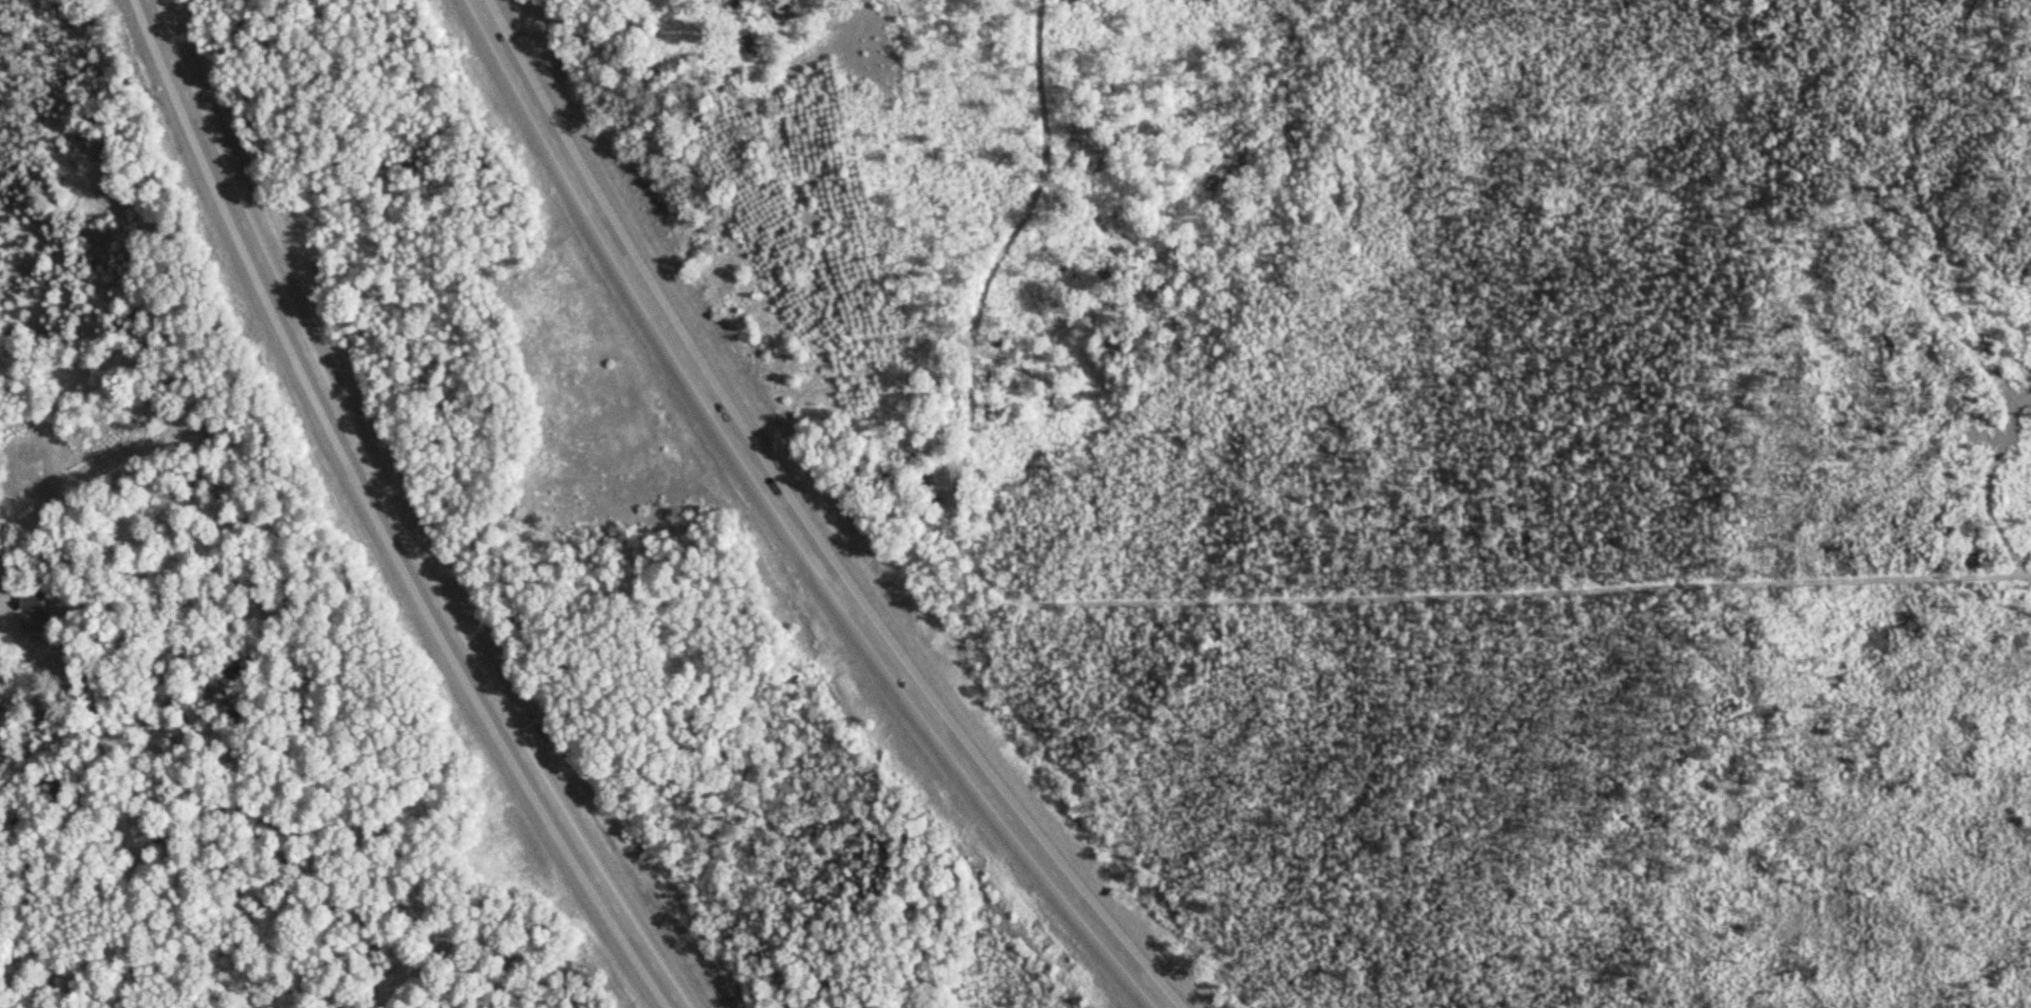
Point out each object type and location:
building: (28, 472)
road: (397, 516)
road: (799, 524)
road: (121, 584)
building: (31, 598)
building: (39, 622)

